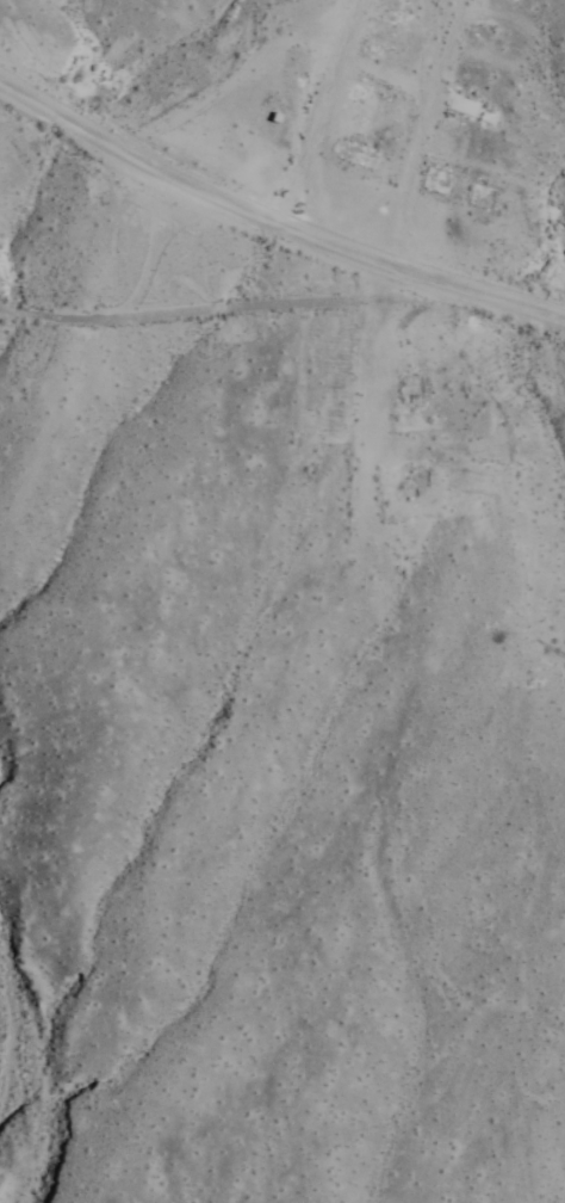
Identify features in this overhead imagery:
building: (466, 106)
road: (310, 110)
road: (269, 220)

